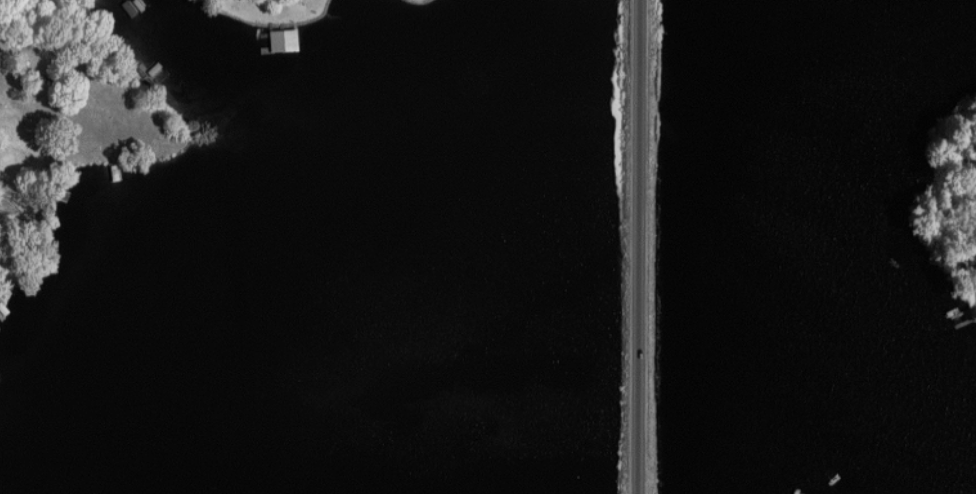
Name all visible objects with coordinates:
road: (635, 246)

